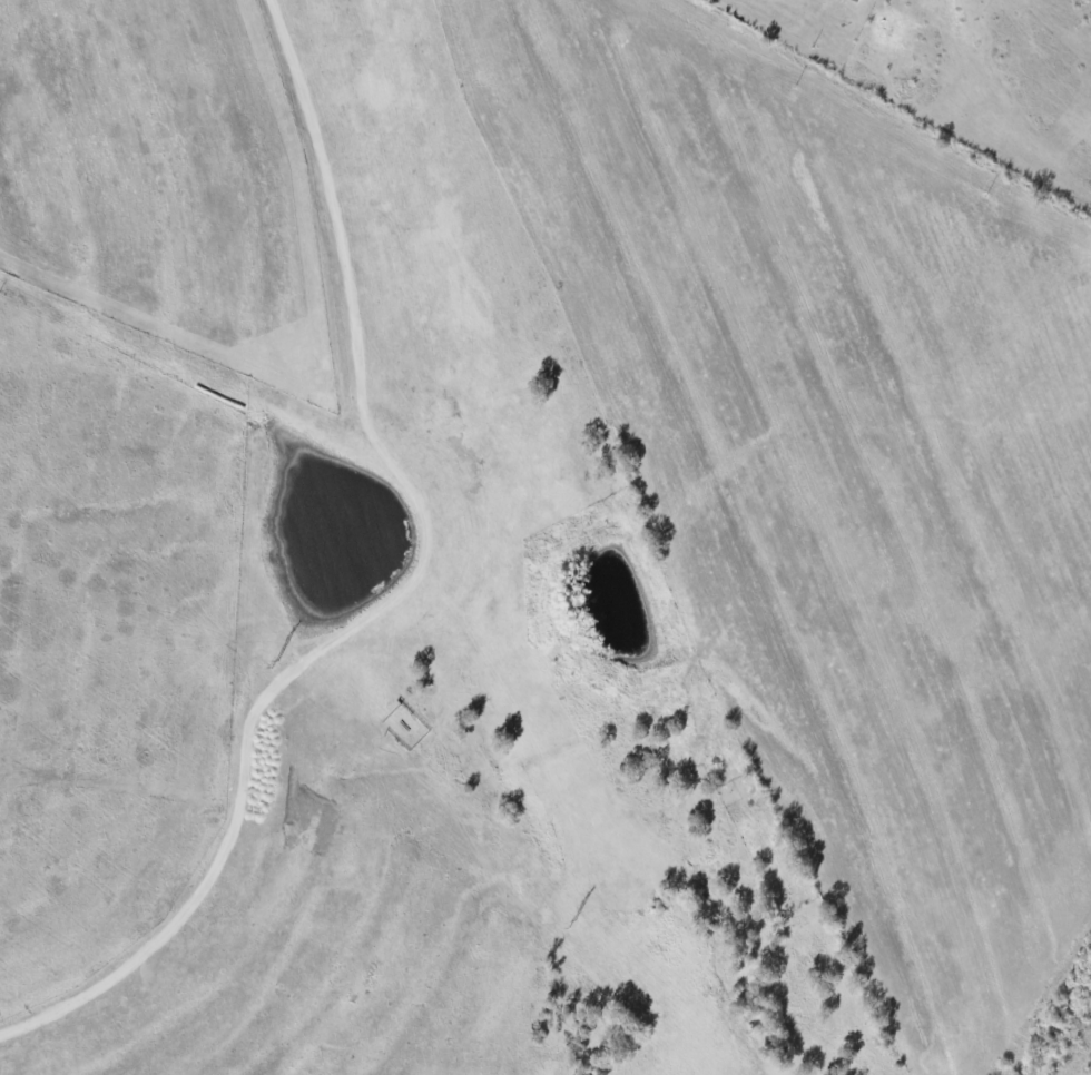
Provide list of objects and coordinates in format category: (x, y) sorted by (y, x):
building: (855, 0)
power tower: (277, 663)
power tower: (573, 925)

